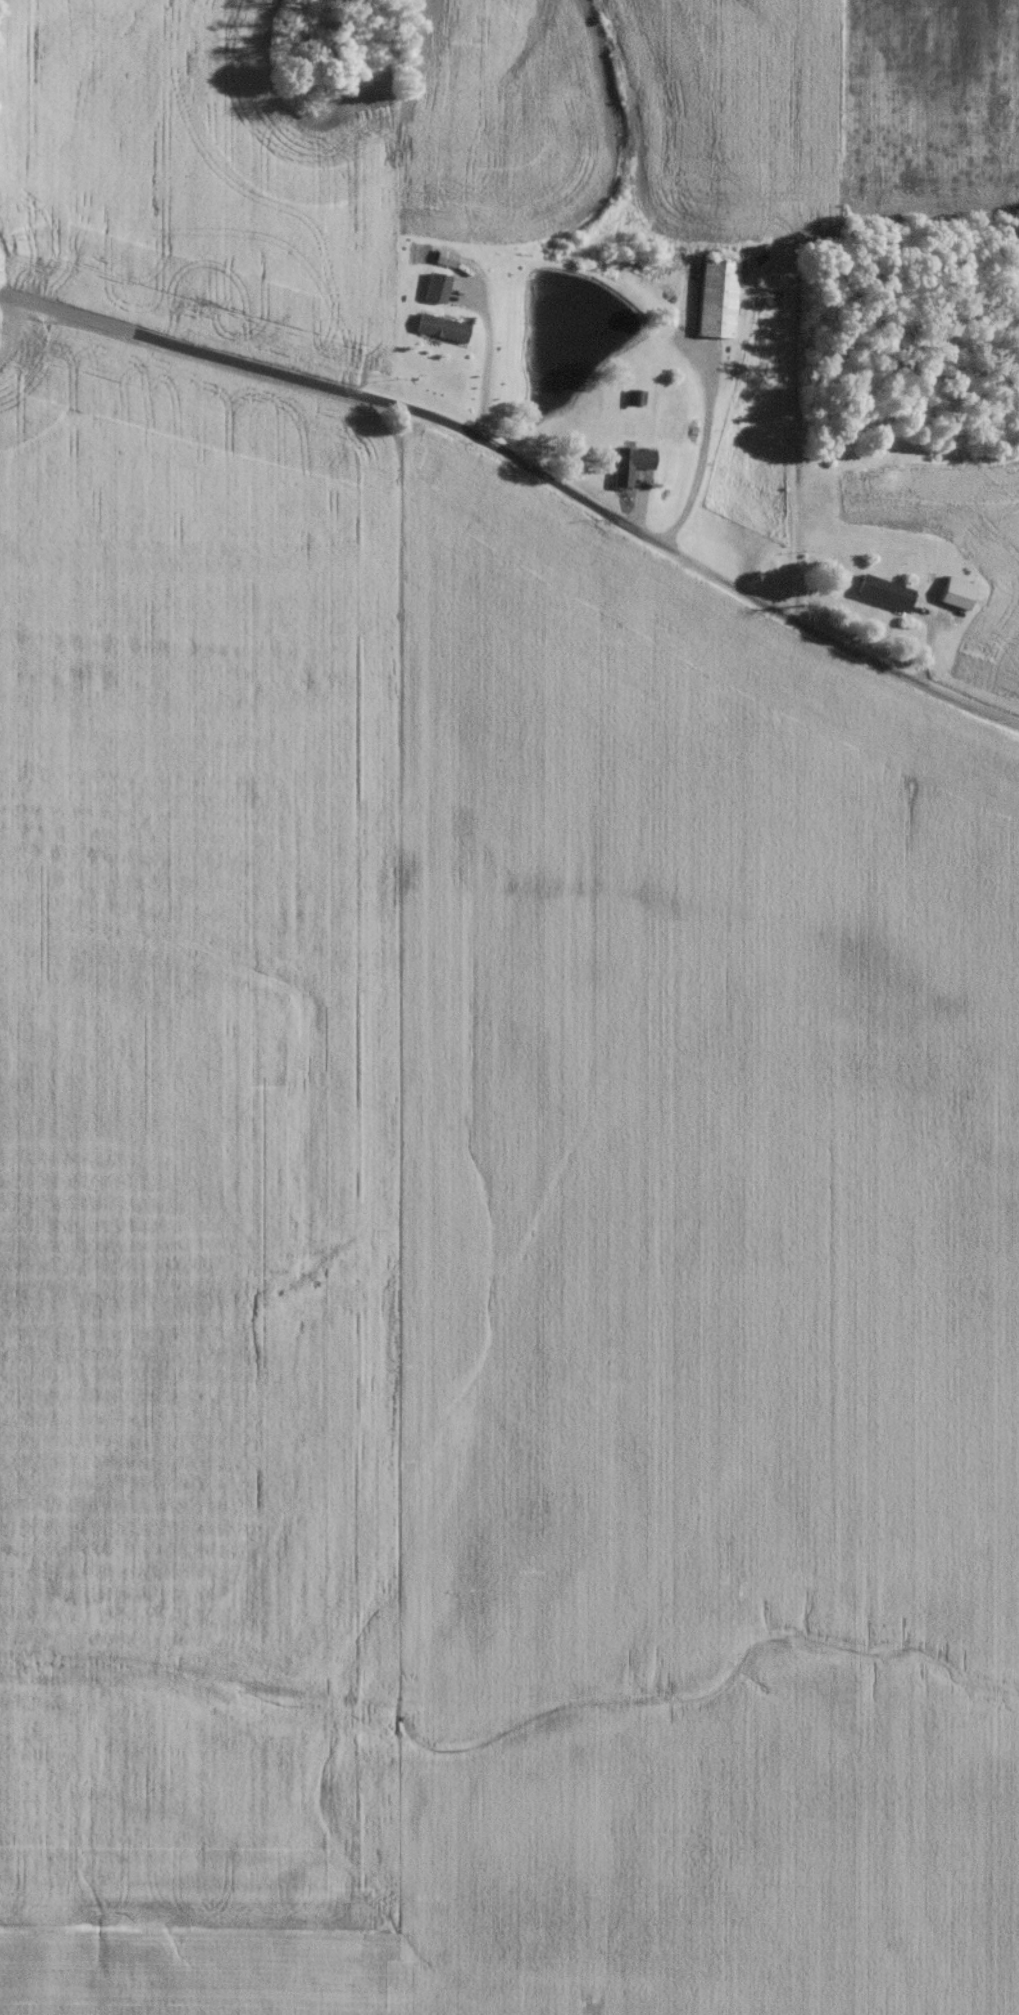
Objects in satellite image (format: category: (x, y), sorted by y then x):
building: (432, 293)
building: (712, 303)
building: (437, 333)
road: (487, 349)
road: (528, 459)
building: (625, 469)
building: (879, 597)
building: (951, 597)

